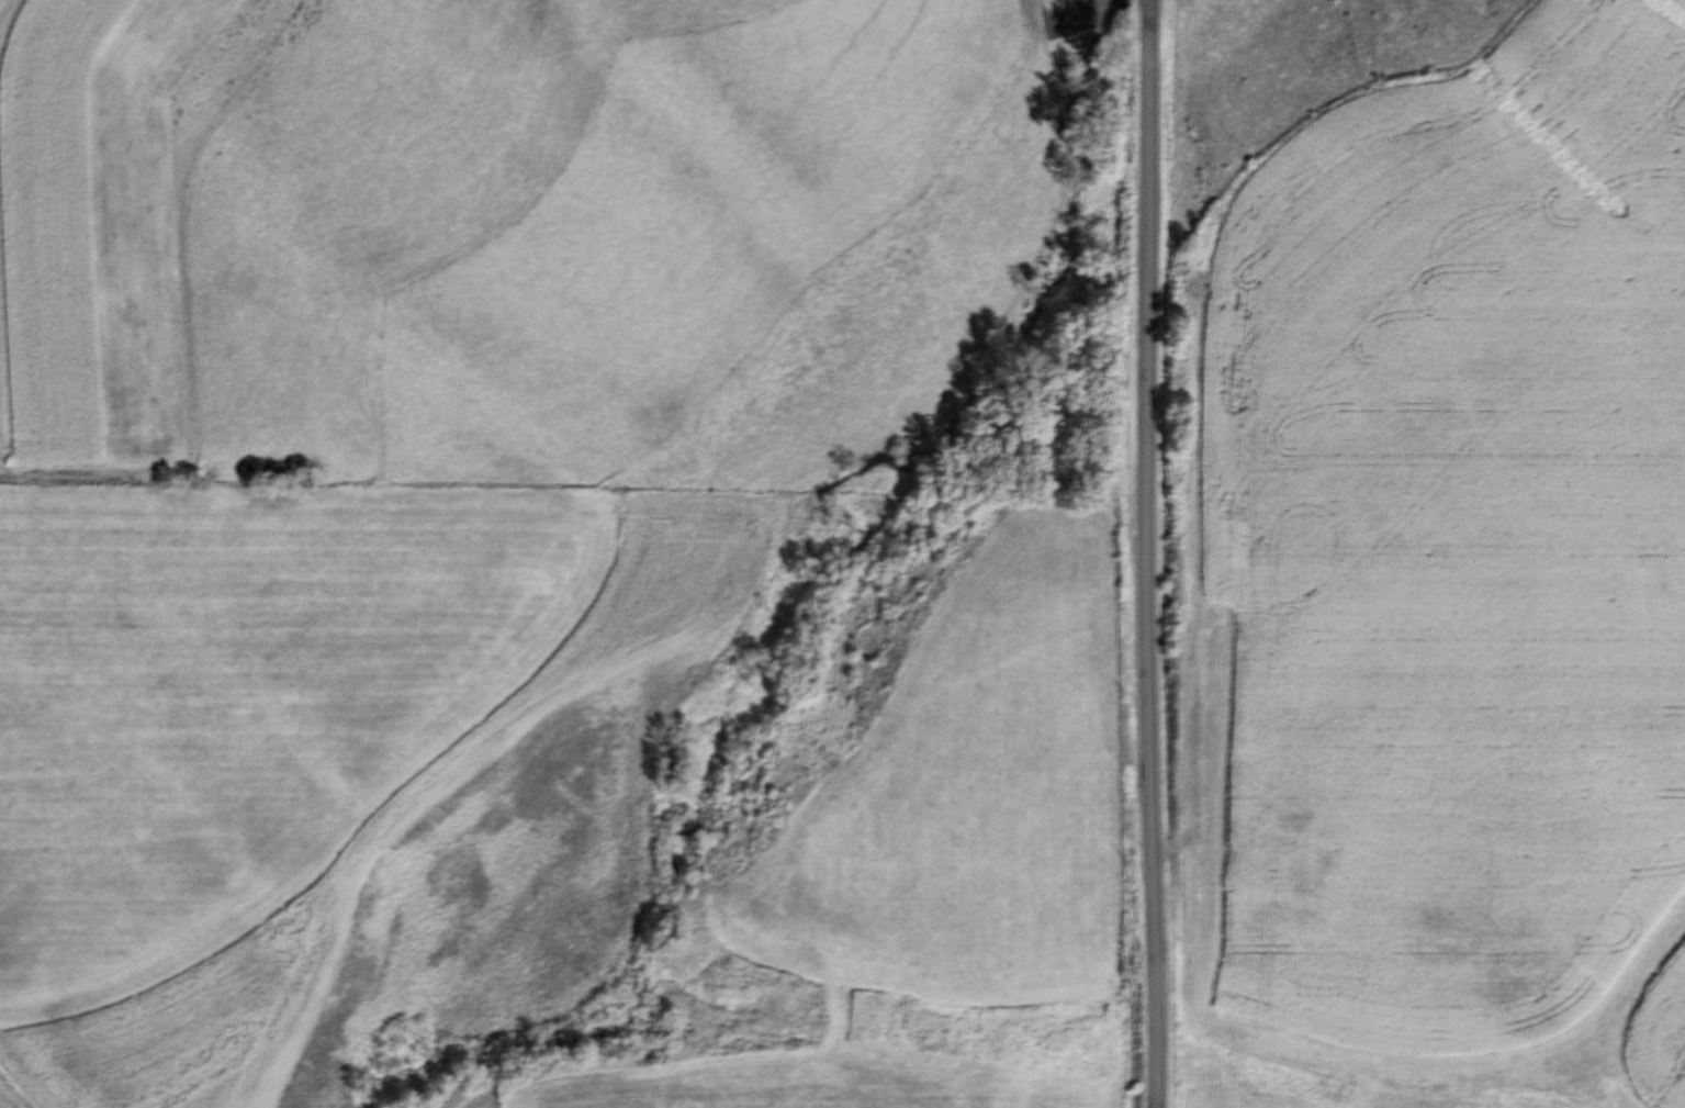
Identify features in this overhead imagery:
road: (1154, 553)
building: (1672, 574)

